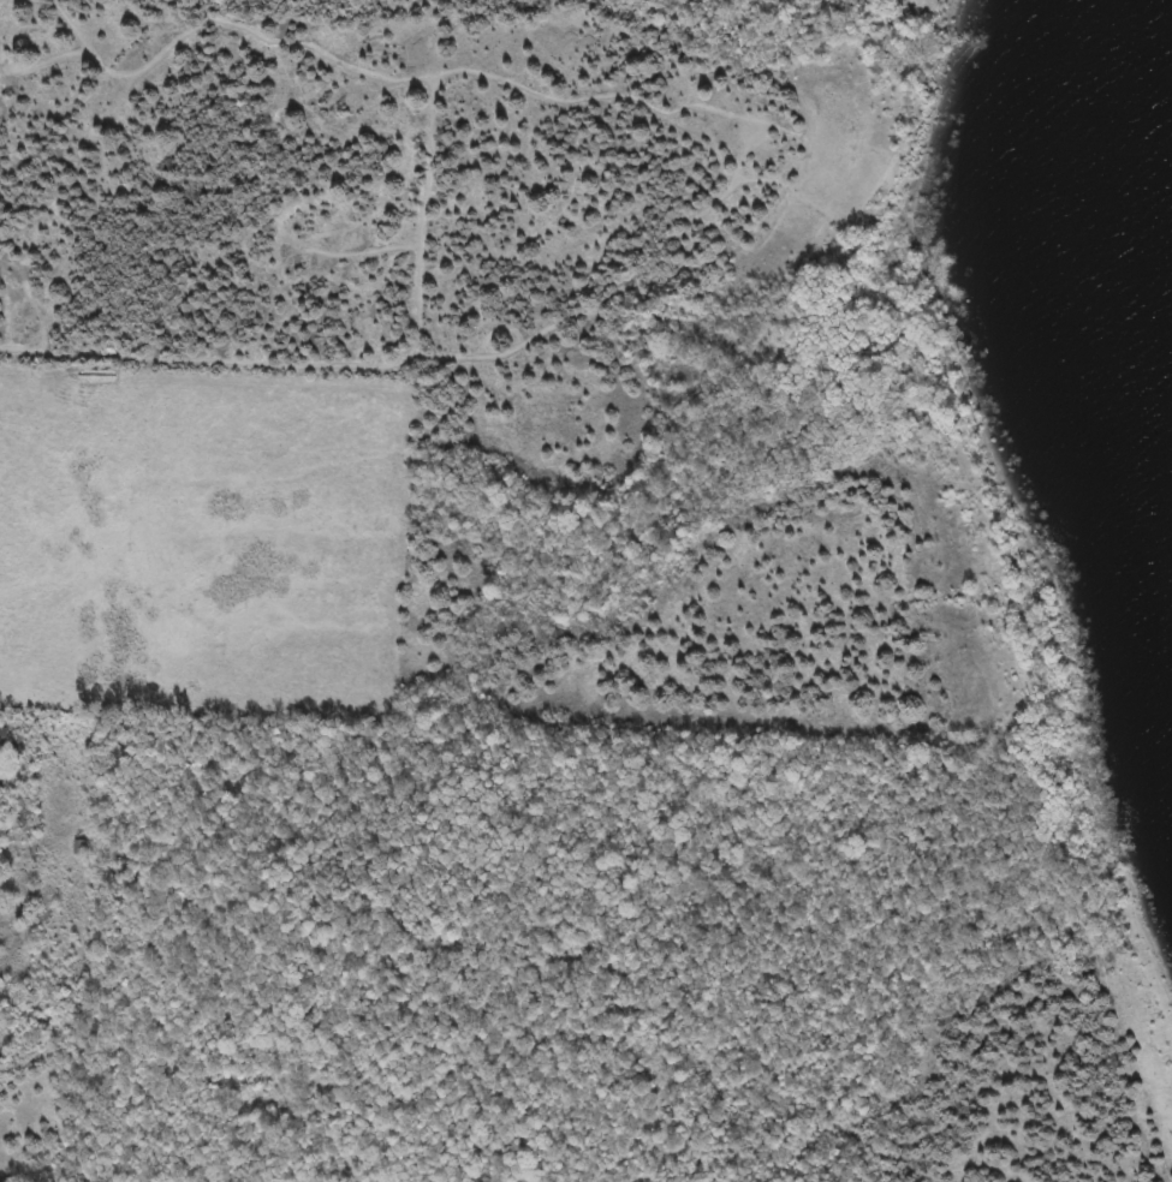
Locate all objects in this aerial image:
building: (1, 789)

